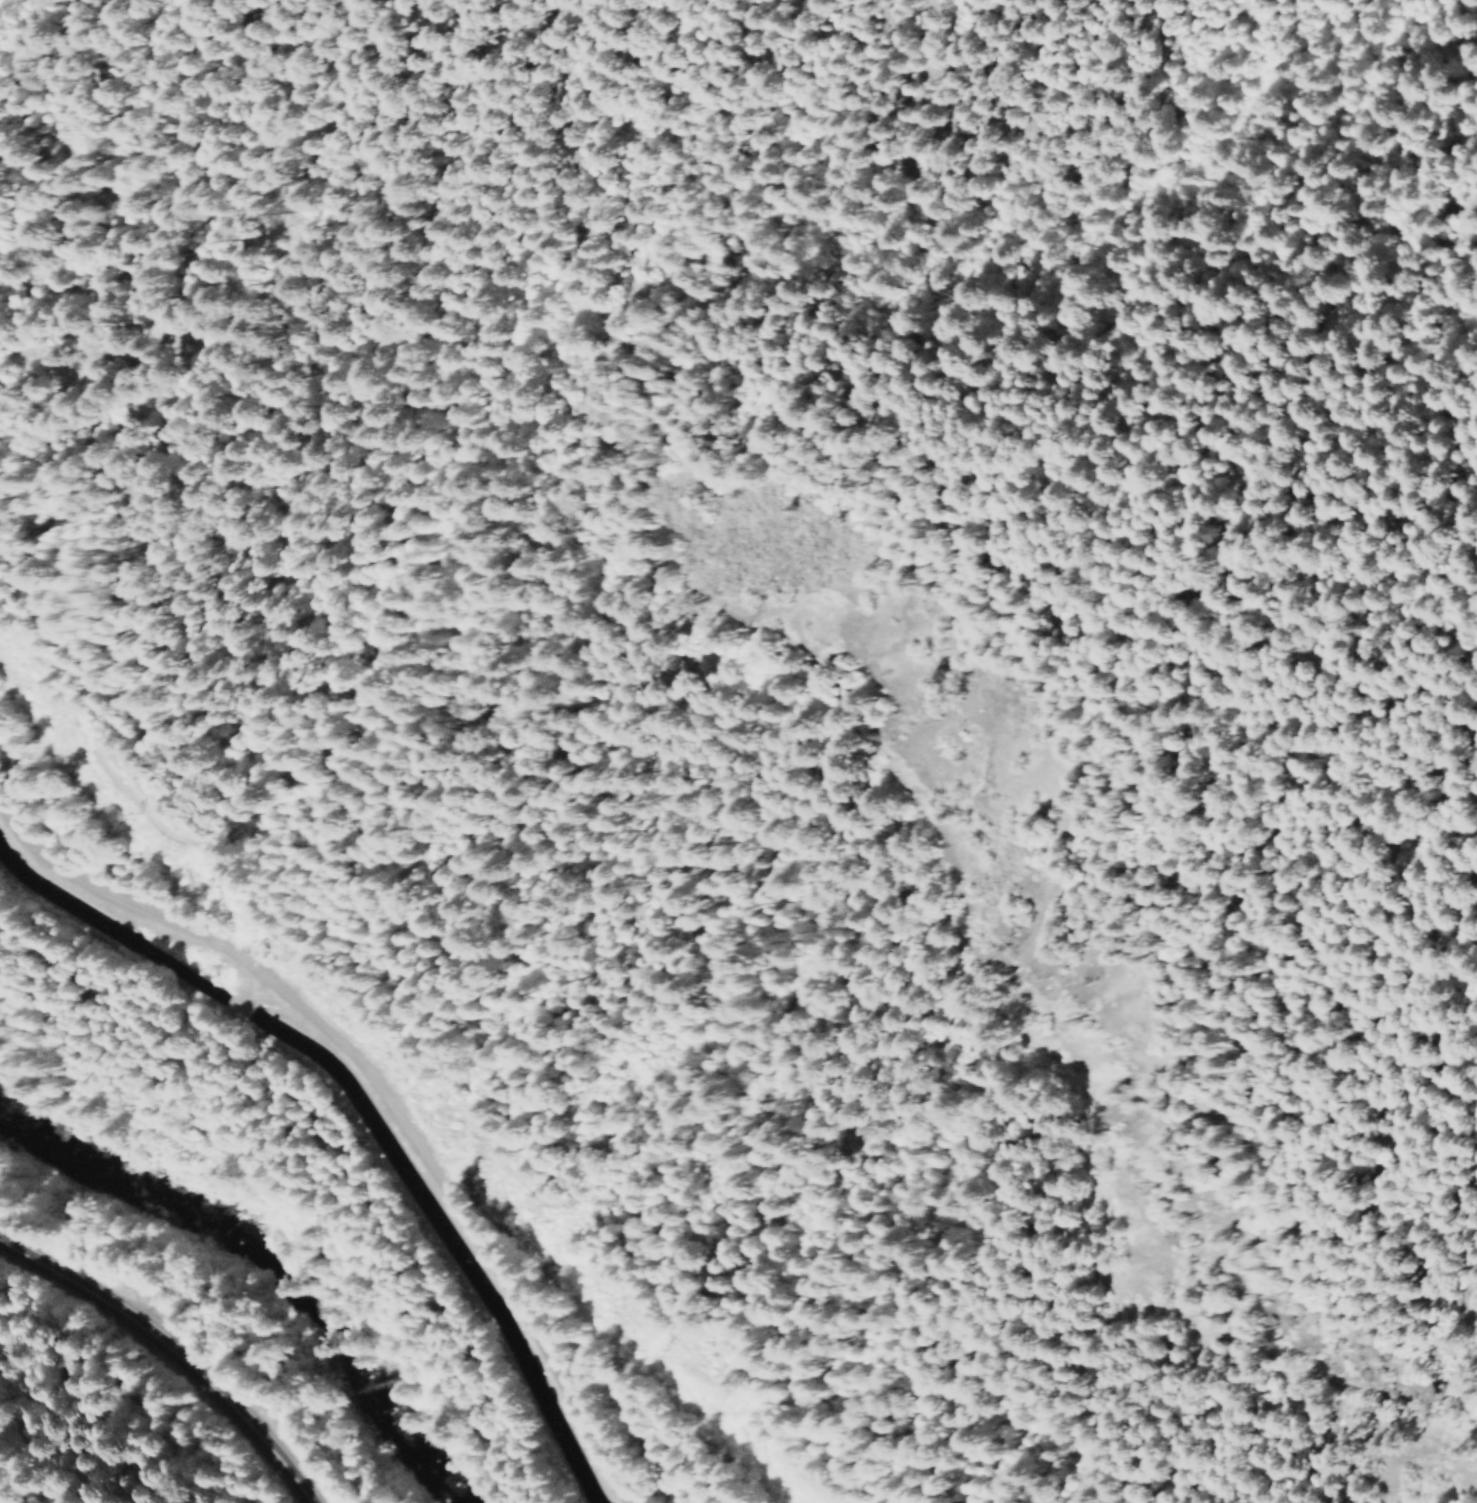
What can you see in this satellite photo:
road: (1093, 324)
road: (242, 1003)
road: (376, 1089)
river: (243, 1289)
road: (171, 1352)

